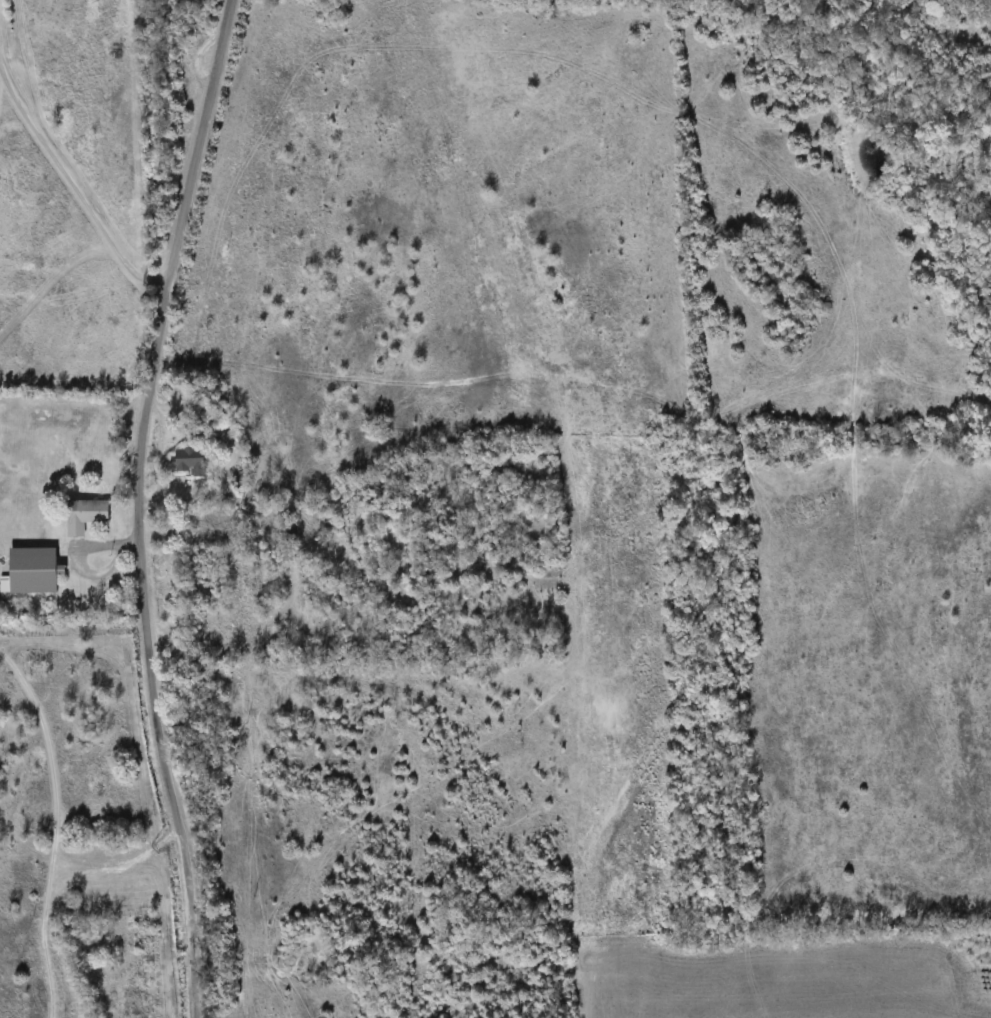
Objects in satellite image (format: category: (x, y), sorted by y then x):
road: (77, 187)
building: (187, 457)
road: (137, 506)
building: (82, 514)
road: (79, 554)
building: (29, 569)
building: (36, 883)

